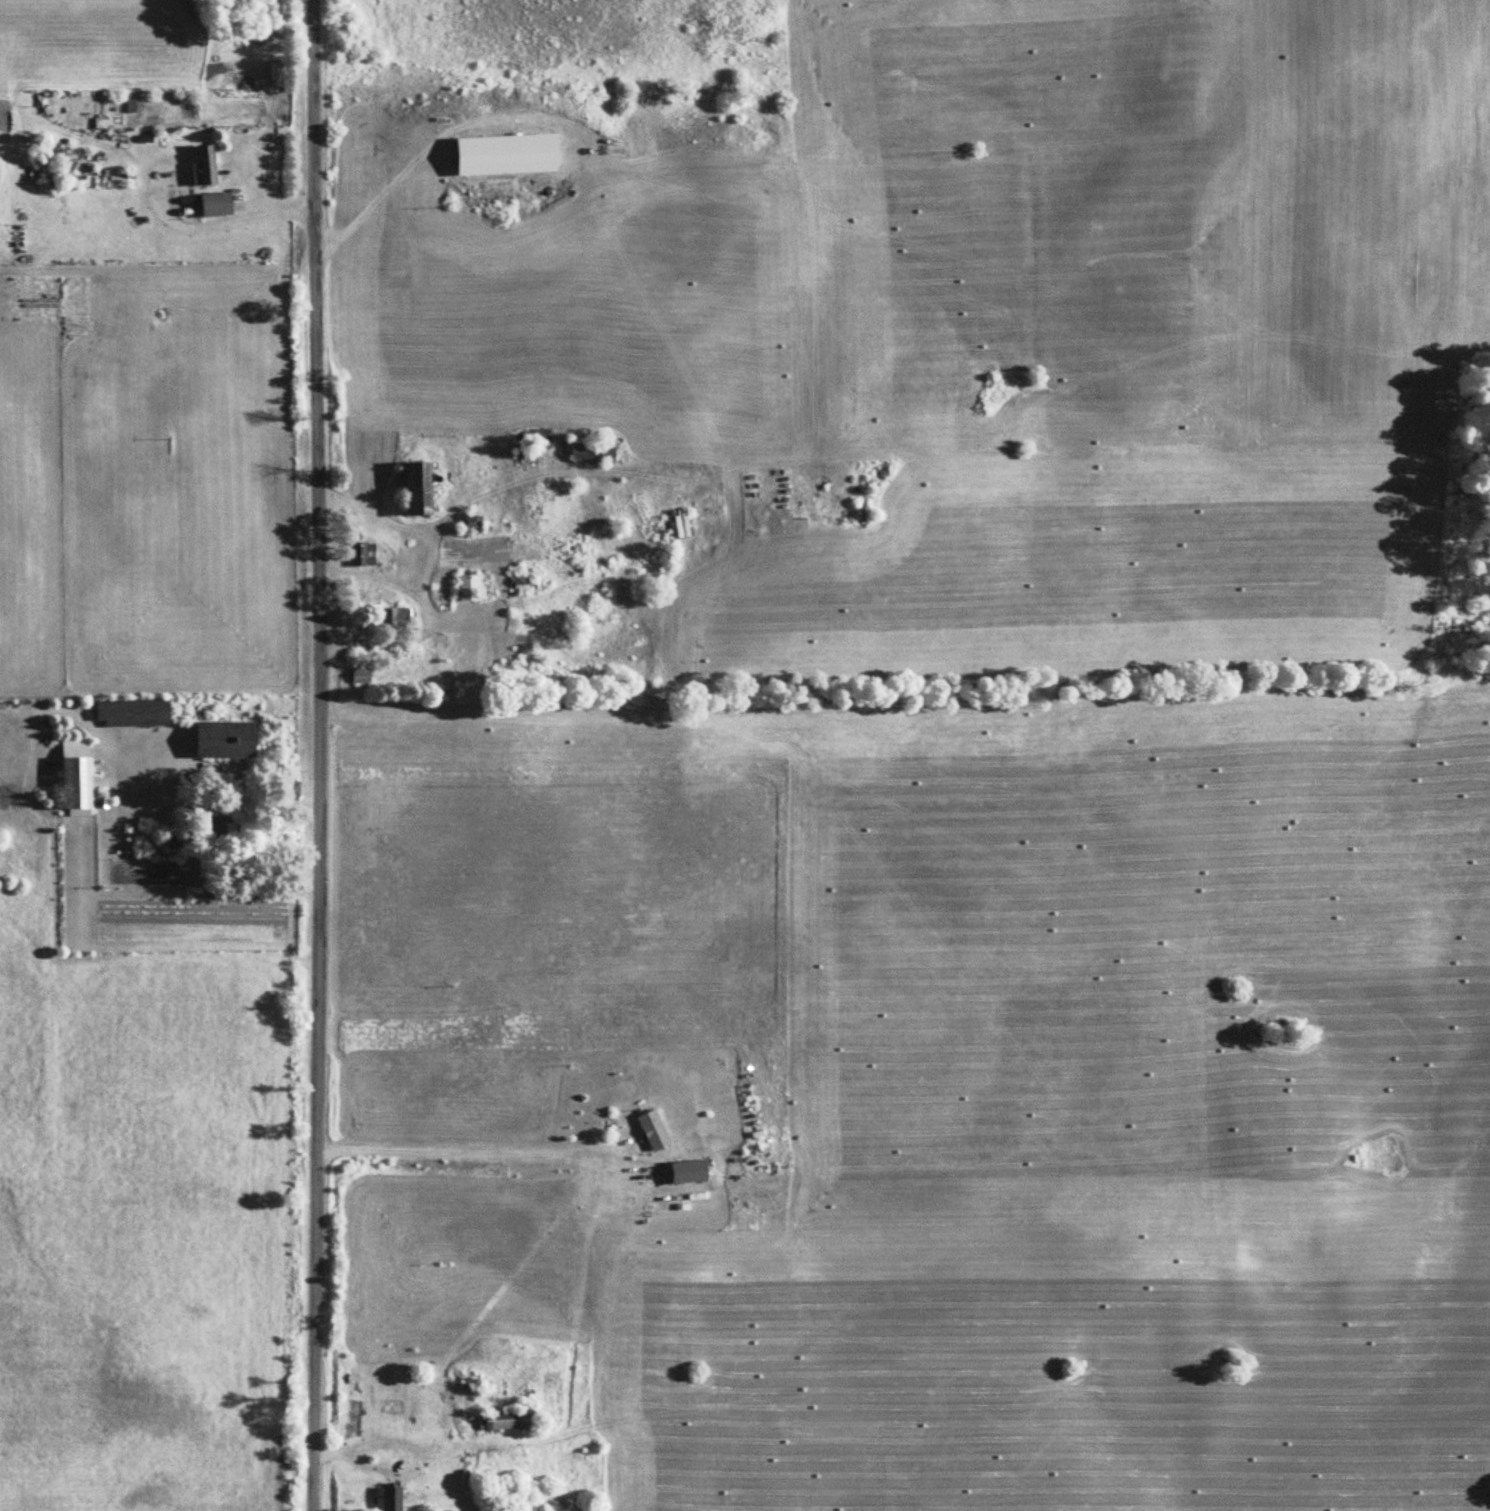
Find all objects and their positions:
building: (279, 68)
building: (511, 153)
building: (206, 165)
building: (220, 203)
building: (595, 451)
building: (424, 487)
building: (473, 522)
building: (684, 522)
building: (364, 552)
building: (471, 587)
building: (398, 618)
building: (363, 674)
building: (135, 710)
building: (230, 737)
road: (301, 755)
building: (81, 774)
building: (656, 1128)
building: (515, 1418)
building: (391, 1498)

